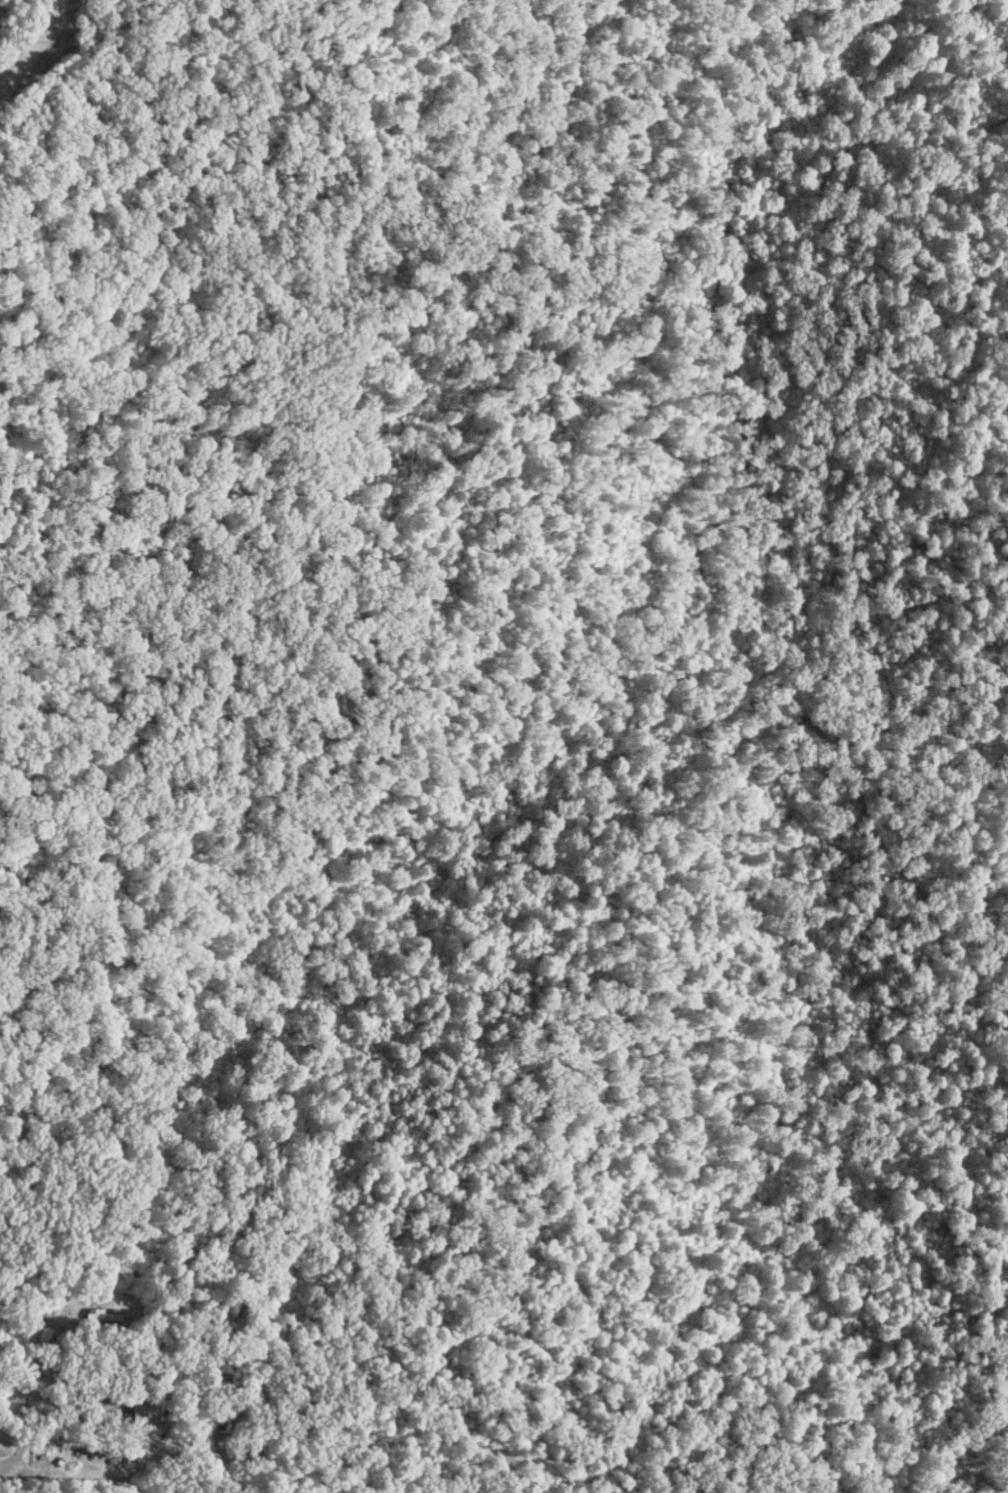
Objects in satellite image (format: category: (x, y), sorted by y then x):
road: (9, 14)
building: (103, 1315)
building: (144, 1413)
road: (54, 1440)

